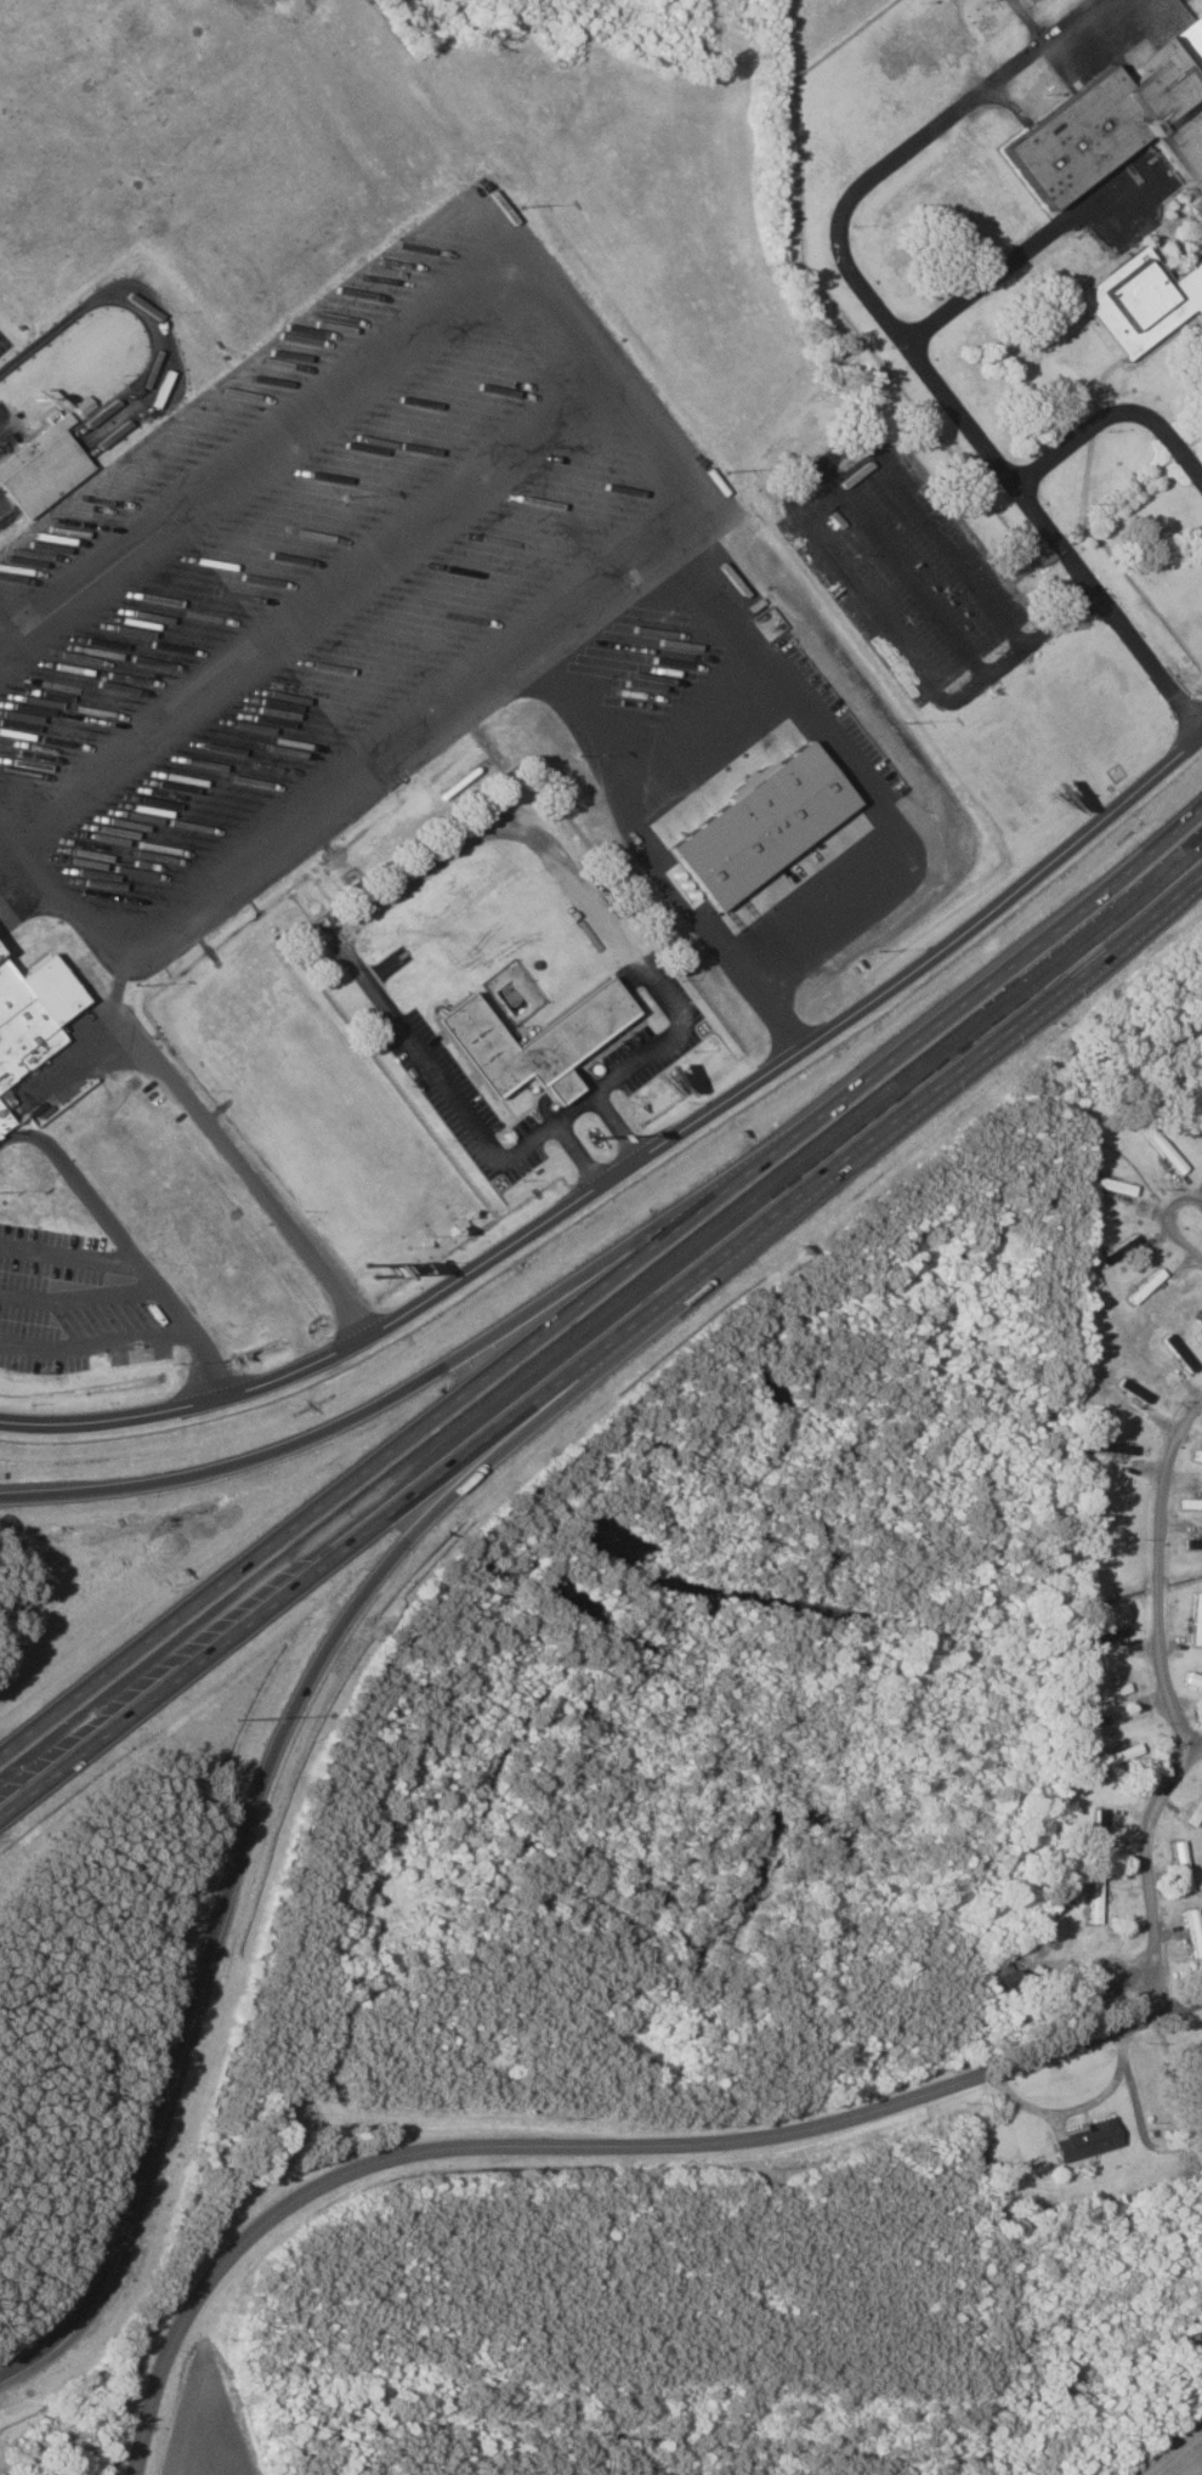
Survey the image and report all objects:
building: (939, 34)
building: (1116, 124)
building: (1187, 287)
building: (1133, 294)
parking lot: (2, 338)
road: (161, 353)
road: (613, 362)
road: (7, 419)
parking lot: (8, 425)
road: (262, 452)
building: (40, 468)
building: (1037, 550)
parking lot: (323, 576)
road: (321, 599)
road: (8, 629)
road: (1034, 642)
road: (359, 748)
road: (13, 816)
road: (514, 826)
road: (1037, 1004)
building: (32, 1016)
building: (561, 1038)
road: (195, 1109)
building: (4, 1123)
road: (623, 1126)
road: (579, 1156)
road: (640, 1161)
building: (1113, 1185)
road: (1179, 1218)
road: (125, 1247)
building: (1119, 1248)
road: (67, 1256)
road: (603, 1292)
road: (92, 1340)
road: (448, 1364)
building: (1196, 1454)
road: (435, 1476)
building: (1190, 1502)
building: (1194, 1542)
road: (1167, 1573)
building: (1196, 1618)
road: (311, 1681)
building: (1192, 1681)
road: (1155, 1870)
building: (1094, 1899)
building: (1192, 1929)
building: (999, 1977)
road: (591, 2139)
building: (1084, 2140)
building: (1201, 2163)

